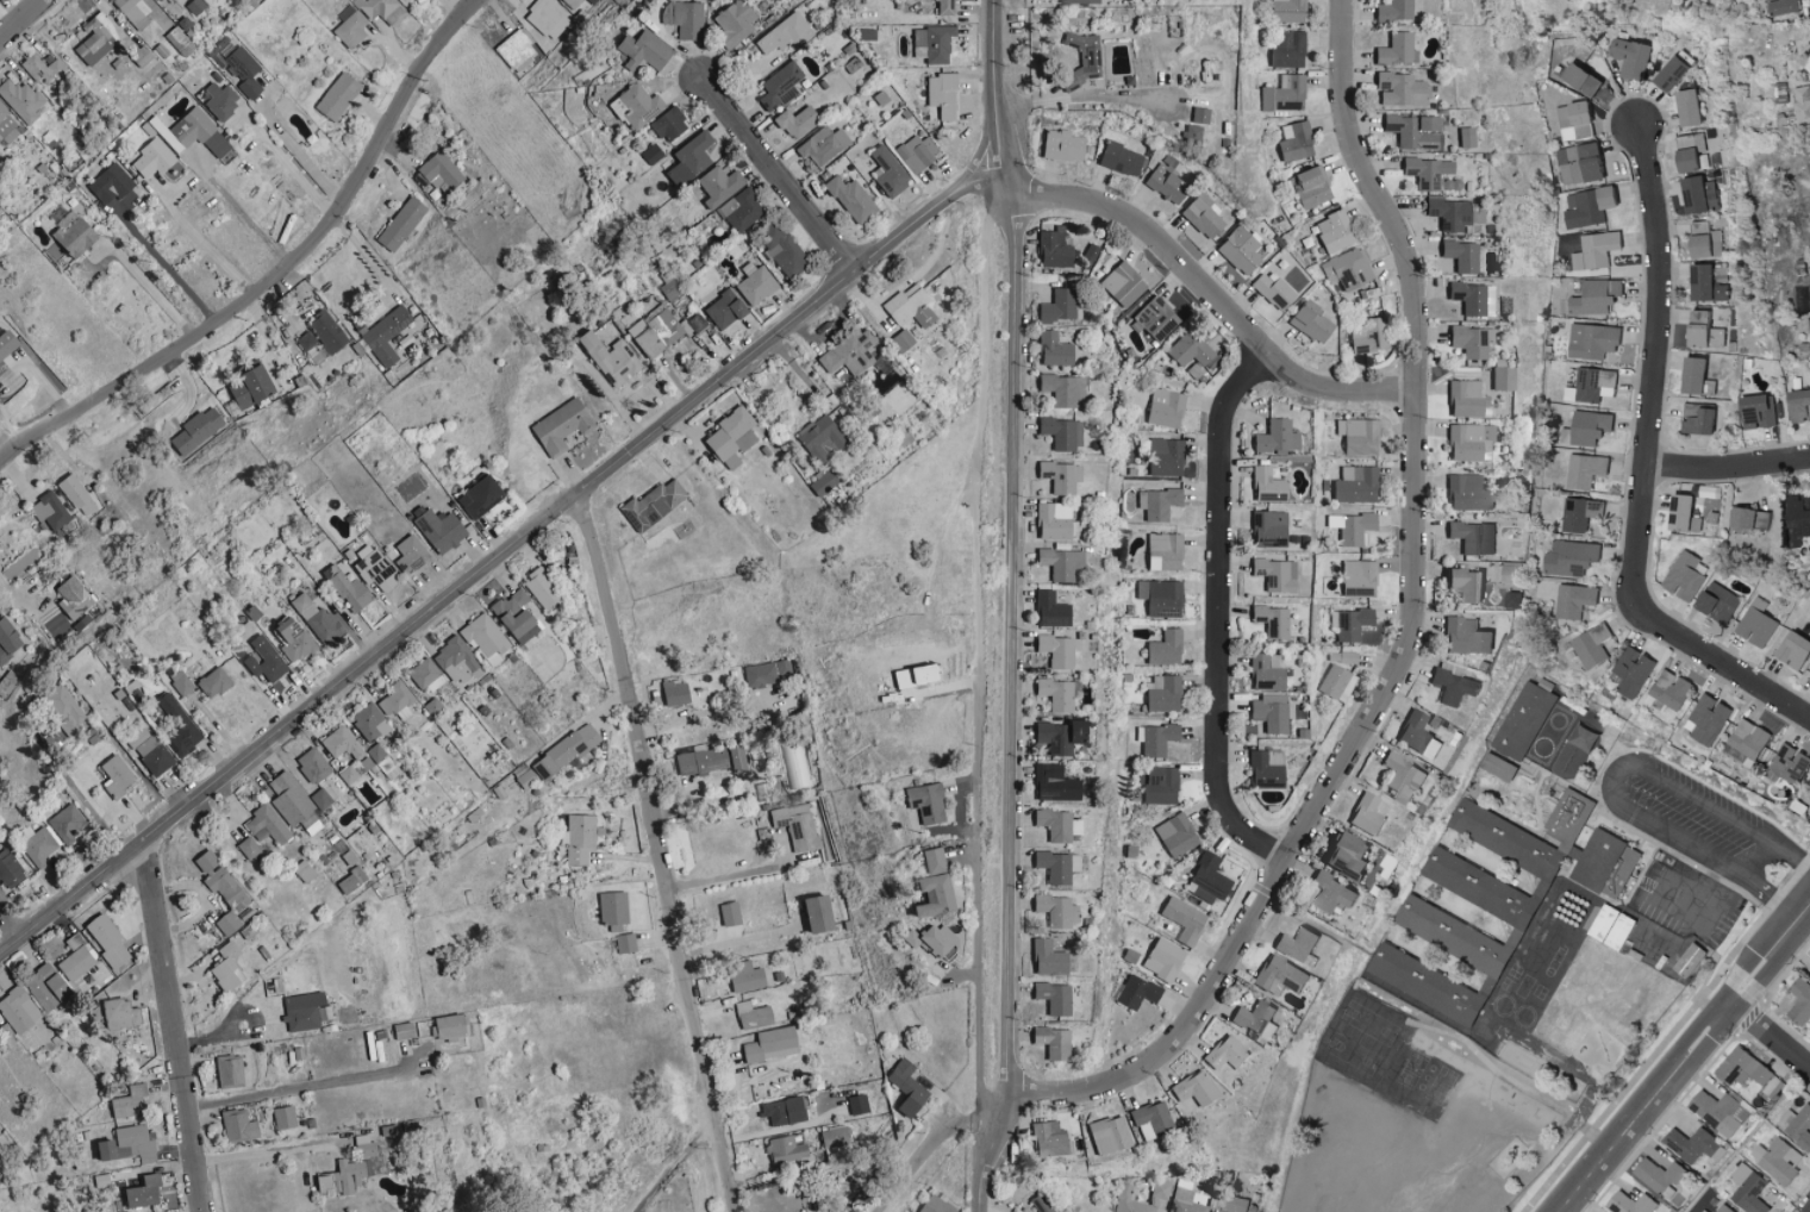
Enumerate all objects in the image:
building: (160, 0)
building: (594, 1)
building: (1076, 1)
building: (574, 2)
building: (196, 6)
building: (1780, 6)
building: (948, 7)
building: (380, 8)
building: (1392, 10)
building: (135, 11)
building: (1286, 11)
building: (548, 17)
road: (19, 18)
building: (685, 18)
building: (736, 21)
building: (351, 26)
building: (787, 33)
building: (868, 33)
building: (99, 39)
building: (935, 43)
building: (1285, 48)
building: (644, 49)
building: (1394, 49)
building: (518, 51)
building: (1627, 57)
building: (1088, 58)
building: (43, 69)
building: (244, 70)
building: (1205, 70)
building: (1667, 73)
building: (1577, 80)
building: (780, 83)
building: (1399, 89)
building: (1282, 93)
building: (944, 94)
building: (339, 95)
building: (787, 95)
road: (1085, 96)
building: (23, 99)
building: (221, 100)
building: (1800, 105)
building: (638, 106)
building: (1685, 107)
building: (1196, 114)
building: (1573, 120)
building: (798, 121)
building: (672, 124)
building: (7, 126)
building: (1411, 131)
building: (194, 132)
building: (1463, 136)
building: (1293, 142)
building: (1059, 145)
building: (824, 146)
road: (298, 152)
building: (916, 152)
building: (653, 154)
building: (154, 158)
building: (1119, 158)
building: (691, 160)
building: (1577, 163)
road: (287, 165)
building: (442, 171)
building: (1424, 171)
building: (890, 173)
road: (773, 175)
building: (714, 181)
building: (112, 183)
building: (1163, 185)
building: (1310, 186)
building: (1696, 194)
building: (853, 199)
building: (1586, 207)
building: (743, 210)
road: (241, 211)
building: (1446, 212)
building: (402, 223)
building: (1332, 231)
building: (79, 236)
building: (1700, 240)
road: (201, 242)
building: (1051, 246)
building: (1598, 248)
building: (1237, 250)
building: (786, 251)
building: (1085, 255)
building: (1459, 255)
road: (167, 265)
road: (281, 270)
building: (1348, 273)
road: (912, 279)
building: (1808, 280)
building: (1698, 282)
building: (757, 283)
building: (1119, 283)
road: (149, 287)
building: (670, 289)
building: (1271, 289)
road: (1209, 294)
building: (1471, 298)
building: (1592, 298)
building: (1055, 305)
building: (912, 306)
building: (726, 310)
building: (1153, 317)
building: (1309, 320)
building: (329, 331)
building: (656, 331)
building: (1700, 331)
building: (387, 335)
building: (1367, 335)
building: (1469, 339)
building: (904, 341)
building: (1590, 341)
building: (307, 342)
building: (8, 343)
building: (1050, 349)
building: (1188, 350)
building: (851, 352)
building: (611, 358)
building: (1500, 377)
building: (1692, 377)
building: (1590, 386)
building: (254, 387)
building: (1060, 388)
building: (1463, 398)
building: (1797, 406)
building: (1163, 407)
building: (1755, 412)
building: (1696, 420)
building: (563, 426)
building: (1585, 427)
building: (198, 430)
building: (1060, 432)
building: (1355, 436)
building: (734, 437)
building: (822, 437)
building: (1274, 437)
building: (1467, 441)
building: (1163, 456)
road: (1646, 468)
road: (1728, 468)
building: (1583, 470)
building: (1057, 476)
building: (824, 482)
building: (1265, 483)
building: (1354, 485)
building: (1466, 493)
building: (77, 494)
building: (481, 496)
building: (1155, 504)
building: (655, 505)
building: (50, 511)
building: (1692, 513)
building: (1578, 514)
building: (1747, 519)
building: (1051, 520)
building: (1797, 523)
building: (1349, 526)
building: (1266, 529)
building: (442, 530)
building: (1471, 537)
building: (1161, 551)
building: (412, 554)
road: (499, 555)
building: (1568, 558)
building: (1060, 563)
building: (376, 569)
building: (1273, 574)
building: (1357, 577)
building: (1683, 577)
building: (1461, 585)
road: (19, 588)
building: (349, 588)
building: (544, 589)
building: (1546, 591)
building: (75, 596)
building: (1157, 598)
building: (1572, 601)
building: (1716, 602)
road: (1011, 607)
building: (1049, 608)
road: (1219, 614)
building: (518, 616)
building: (318, 619)
building: (1269, 620)
building: (1348, 623)
building: (1754, 627)
building: (1463, 636)
building: (488, 638)
road: (1408, 638)
building: (8, 641)
building: (297, 641)
building: (1590, 645)
building: (1162, 648)
building: (1053, 650)
road: (976, 651)
building: (1792, 651)
building: (457, 662)
building: (267, 666)
building: (1263, 671)
building: (425, 673)
building: (768, 673)
building: (1629, 673)
building: (216, 682)
building: (1336, 682)
building: (182, 683)
building: (437, 683)
building: (1450, 687)
building: (1668, 691)
building: (679, 693)
building: (1054, 693)
building: (1162, 694)
building: (397, 701)
building: (65, 711)
building: (1267, 717)
building: (1705, 719)
building: (1522, 720)
building: (372, 723)
building: (180, 726)
building: (1416, 735)
building: (1055, 737)
building: (1154, 738)
building: (1748, 738)
building: (343, 744)
building: (151, 751)
building: (567, 751)
building: (738, 757)
building: (703, 761)
building: (1787, 764)
building: (314, 766)
building: (1496, 767)
building: (1262, 768)
building: (349, 775)
building: (118, 776)
building: (1400, 776)
building: (528, 779)
road: (1609, 782)
building: (1051, 783)
building: (1157, 785)
building: (1808, 794)
building: (323, 799)
road: (82, 802)
building: (929, 802)
building: (294, 804)
building: (1363, 814)
building: (67, 824)
building: (1054, 824)
building: (268, 825)
building: (798, 826)
building: (1523, 832)
building: (1174, 835)
building: (578, 838)
building: (39, 846)
building: (249, 848)
road: (655, 852)
building: (1343, 854)
building: (935, 861)
building: (1603, 864)
building: (1054, 866)
building: (11, 868)
building: (305, 870)
road: (719, 876)
building: (1205, 877)
building: (354, 880)
building: (1478, 887)
building: (224, 891)
building: (1330, 893)
building: (936, 895)
building: (614, 908)
building: (1054, 911)
building: (731, 914)
building: (822, 914)
road: (1681, 917)
building: (1179, 920)
building: (1609, 927)
building: (932, 939)
building: (108, 941)
building: (626, 943)
building: (1296, 943)
building: (226, 948)
building: (1043, 957)
building: (76, 958)
building: (1161, 958)
building: (1809, 958)
building: (1687, 961)
building: (229, 974)
building: (1278, 975)
building: (747, 976)
building: (1423, 983)
building: (48, 987)
building: (1134, 992)
building: (1055, 997)
building: (1798, 1002)
building: (18, 1011)
building: (304, 1011)
building: (121, 1014)
building: (754, 1016)
building: (1253, 1017)
road: (167, 1023)
building: (450, 1026)
building: (405, 1030)
road: (1771, 1032)
building: (1049, 1042)
building: (773, 1044)
building: (1224, 1052)
road: (1684, 1058)
building: (1740, 1069)
building: (230, 1070)
road: (304, 1085)
building: (909, 1089)
building: (1191, 1091)
building: (132, 1102)
building: (859, 1105)
building: (785, 1111)
building: (1718, 1112)
building: (285, 1118)
building: (1148, 1118)
building: (238, 1125)
building: (1796, 1126)
building: (1105, 1135)
building: (1047, 1139)
building: (838, 1143)
building: (130, 1145)
road: (931, 1145)
building: (1693, 1145)
building: (366, 1147)
road: (257, 1150)
building: (787, 1151)
building: (1774, 1161)
building: (0, 1169)
building: (1659, 1175)
building: (344, 1179)
building: (1746, 1189)
building: (146, 1193)
building: (1130, 1201)
building: (1185, 1201)
building: (1041, 1202)
building: (1234, 1204)
building: (1629, 1204)
building: (937, 1205)
building: (1723, 1208)
building: (1212, 1211)
building: (1703, 1211)

